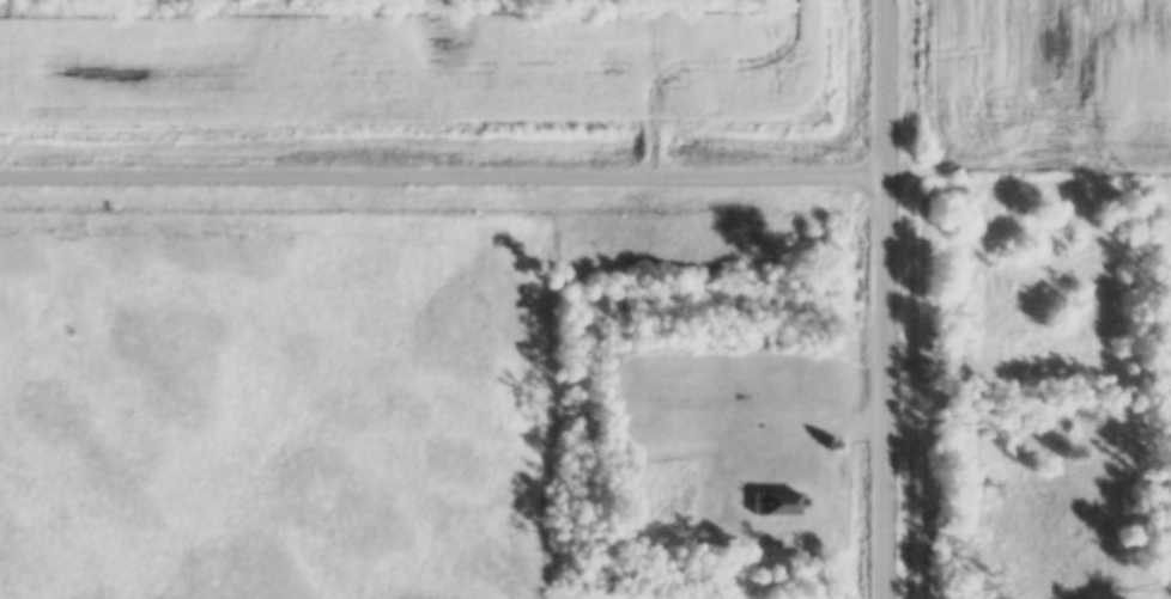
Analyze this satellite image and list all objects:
road: (444, 177)
road: (890, 299)
road: (824, 452)
building: (777, 513)

